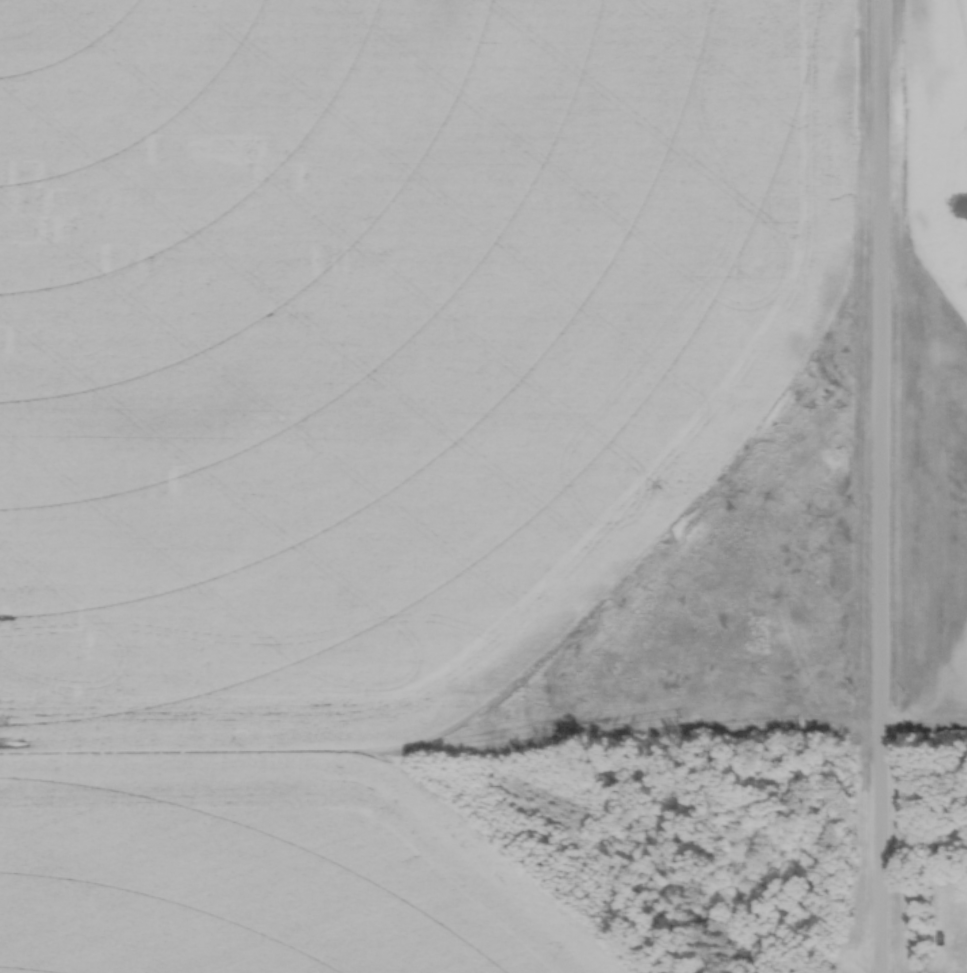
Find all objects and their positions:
road: (879, 486)

